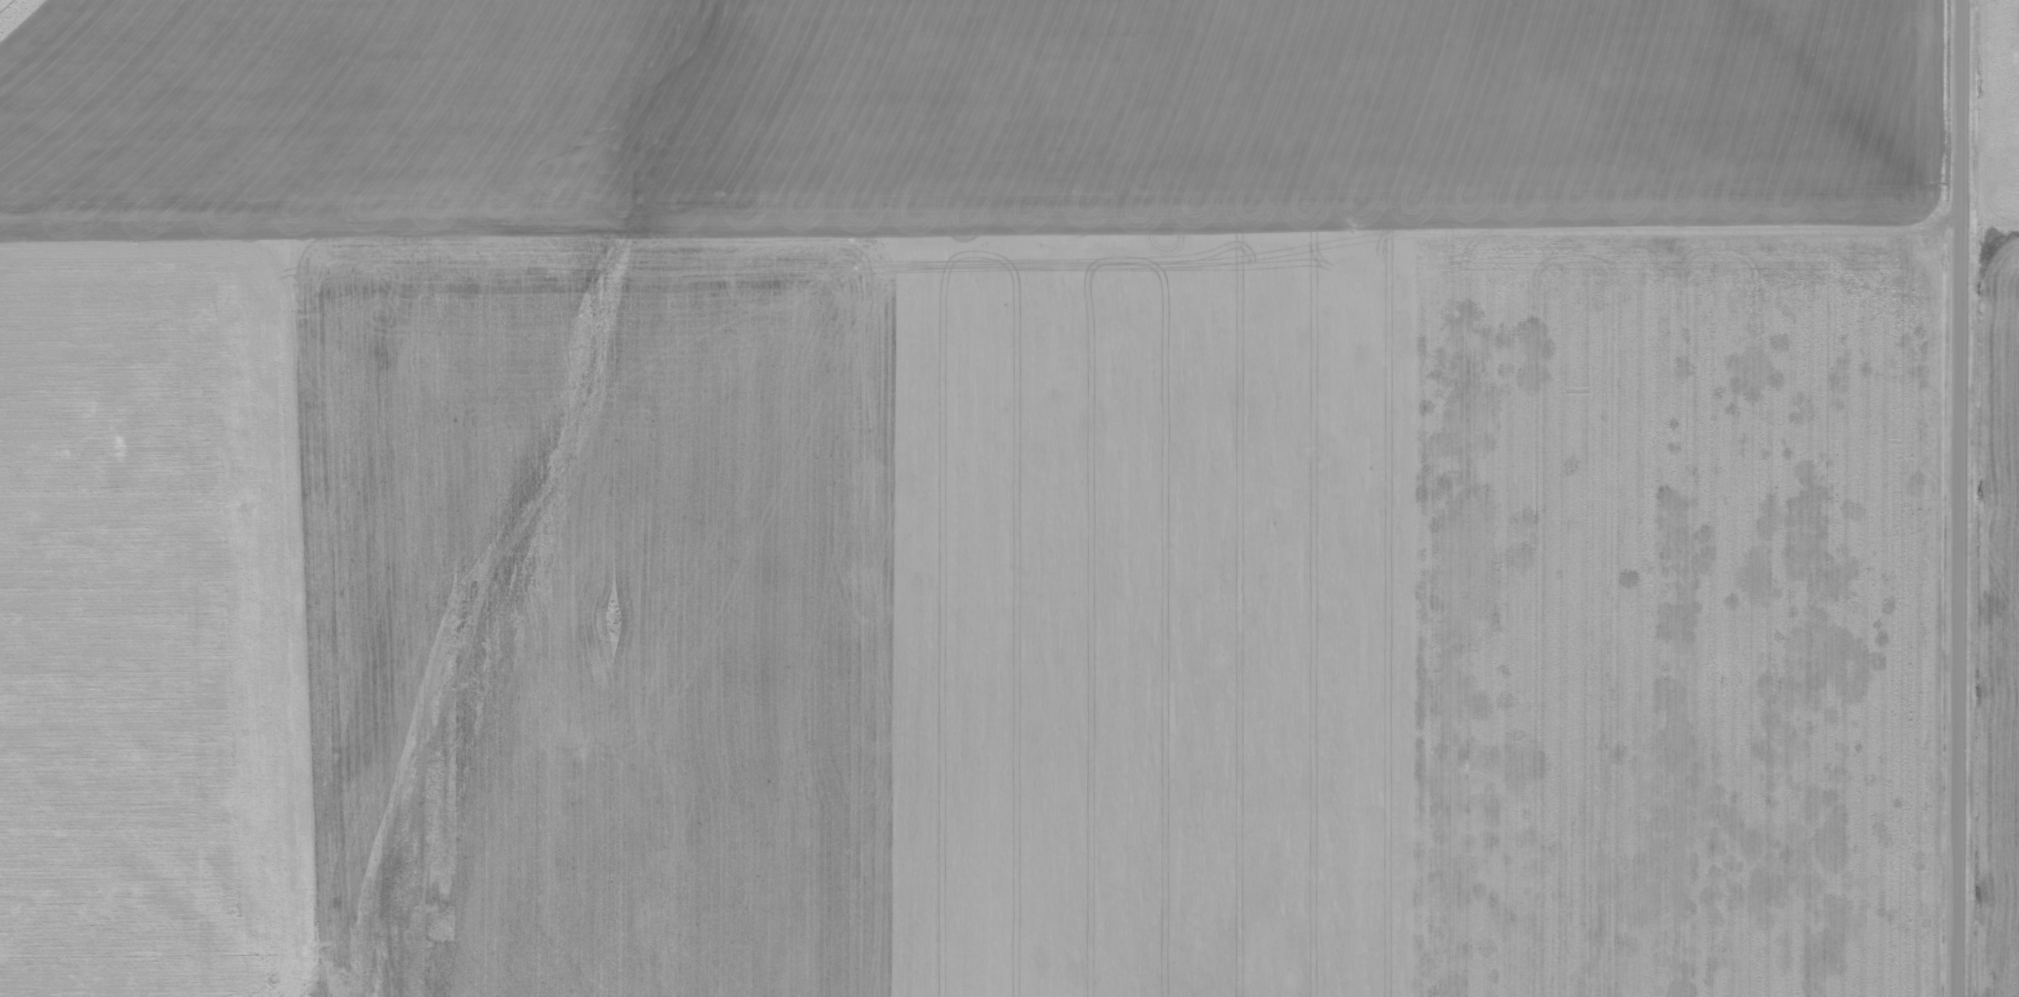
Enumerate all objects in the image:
road: (1957, 498)

